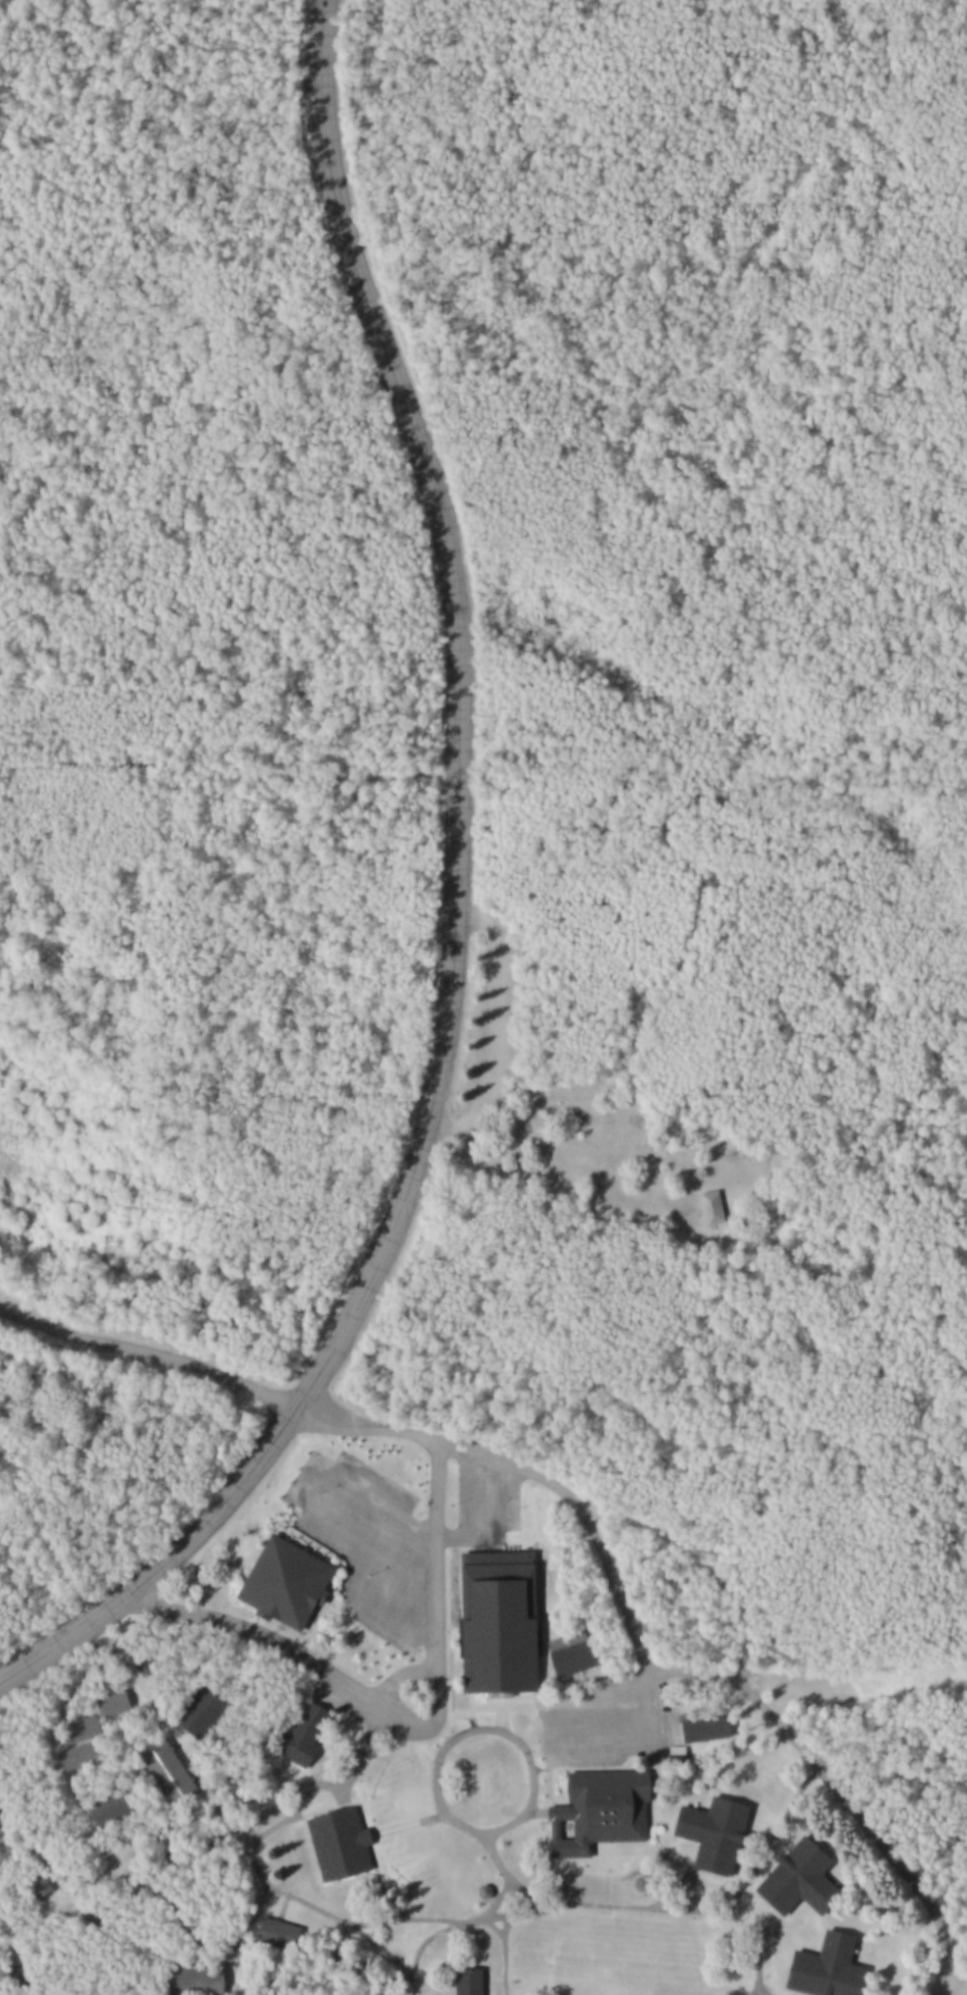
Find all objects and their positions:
road: (451, 909)
park: (483, 997)
road: (493, 1026)
building: (714, 1207)
road: (146, 1348)
road: (356, 1425)
road: (575, 1509)
parking lot: (390, 1579)
building: (283, 1580)
road: (229, 1615)
building: (491, 1616)
road: (431, 1642)
building: (565, 1651)
road: (442, 1666)
road: (394, 1671)
building: (105, 1699)
road: (480, 1705)
building: (194, 1708)
parking lot: (604, 1722)
building: (698, 1725)
building: (72, 1726)
building: (295, 1732)
road: (439, 1744)
building: (67, 1755)
building: (158, 1767)
road: (316, 1781)
road: (198, 1785)
road: (830, 1788)
building: (591, 1807)
road: (405, 1823)
building: (706, 1827)
road: (136, 1844)
building: (341, 1844)
road: (39, 1856)
building: (804, 1881)
building: (477, 1888)
road: (301, 1899)
road: (664, 1907)
road: (33, 1915)
road: (394, 1921)
road: (442, 1921)
road: (235, 1938)
road: (499, 1951)
building: (830, 1970)
building: (188, 1976)
building: (462, 1978)

